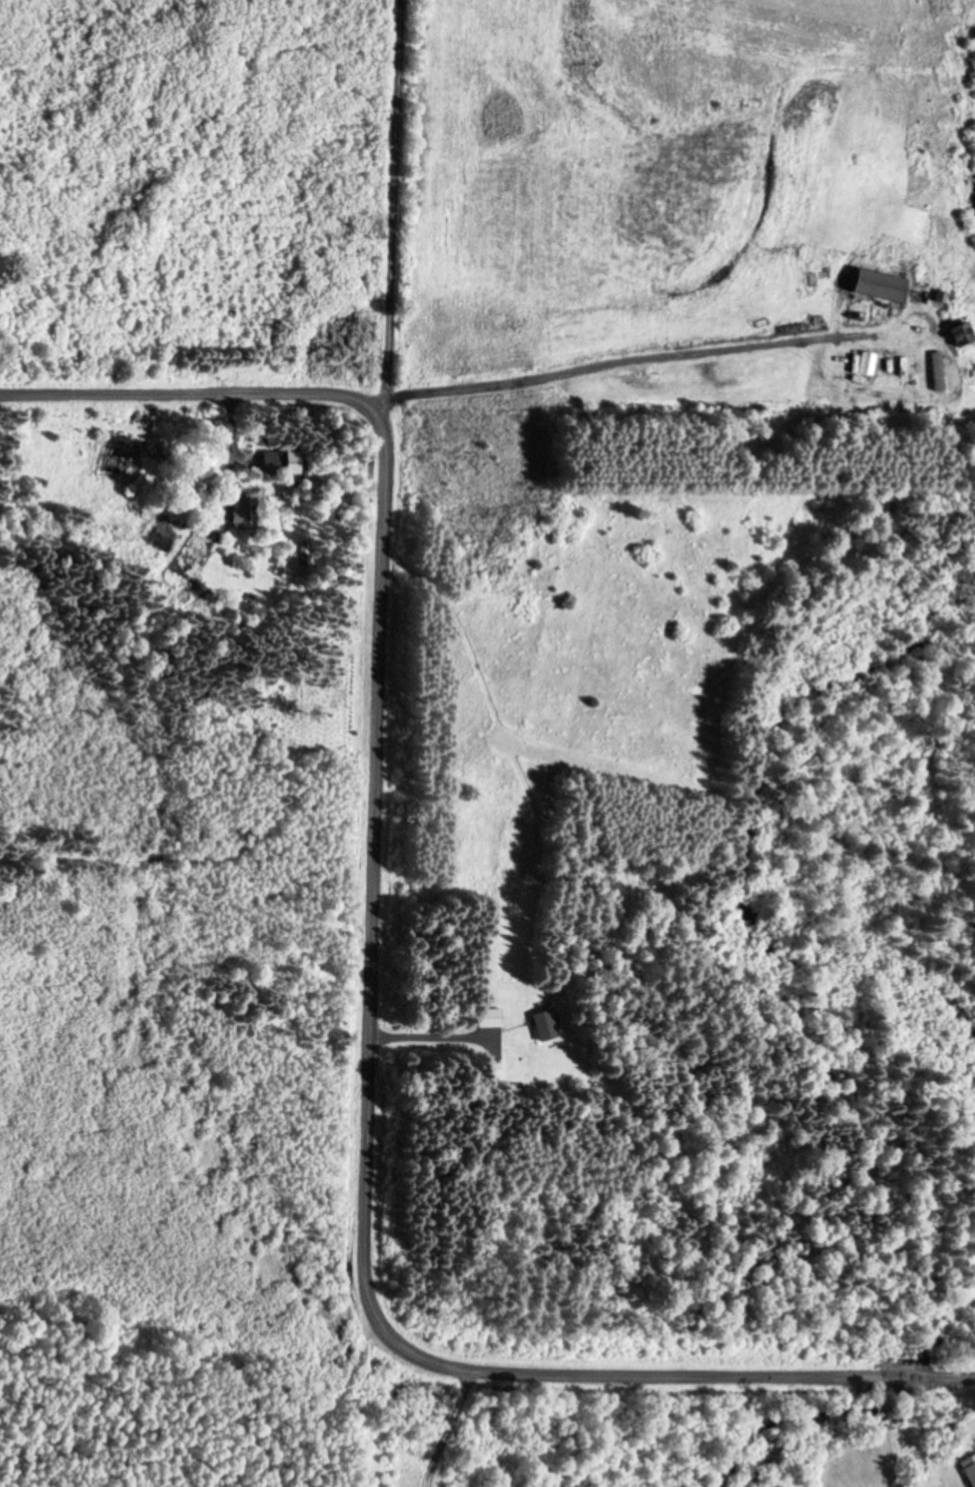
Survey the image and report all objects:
road: (388, 195)
building: (880, 282)
building: (960, 331)
building: (882, 367)
road: (655, 383)
road: (190, 390)
building: (281, 460)
building: (247, 507)
building: (487, 1015)
building: (543, 1022)
road: (380, 1110)
road: (949, 1358)
building: (969, 1468)

